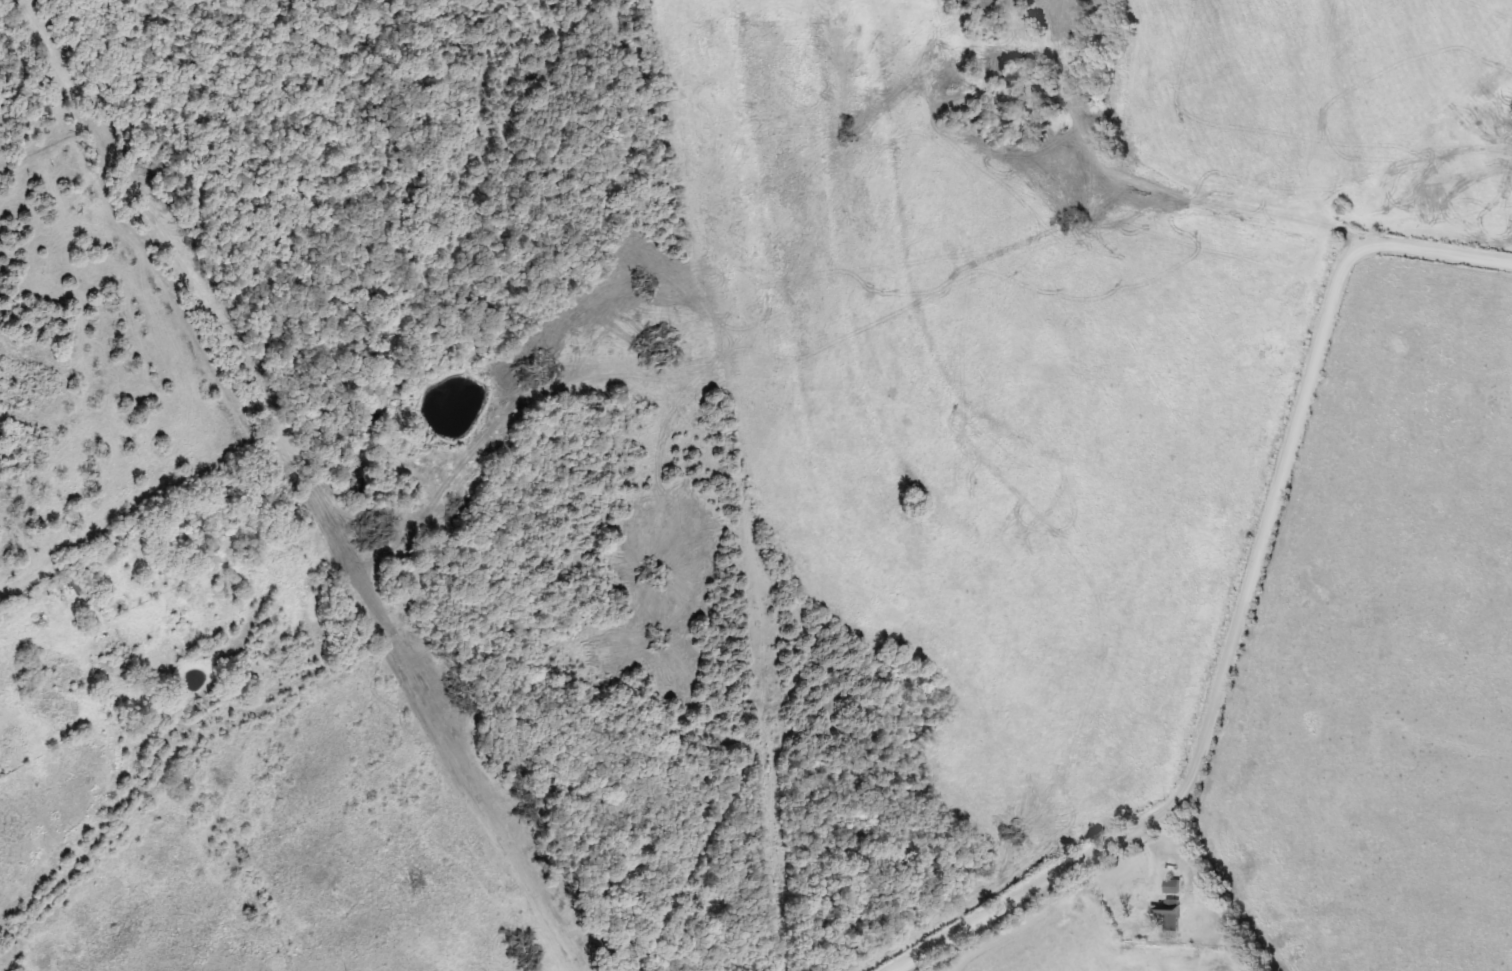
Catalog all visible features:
building: (984, 5)
building: (1090, 53)
building: (1342, 208)
road: (1244, 609)
building: (1173, 885)
building: (1168, 919)

